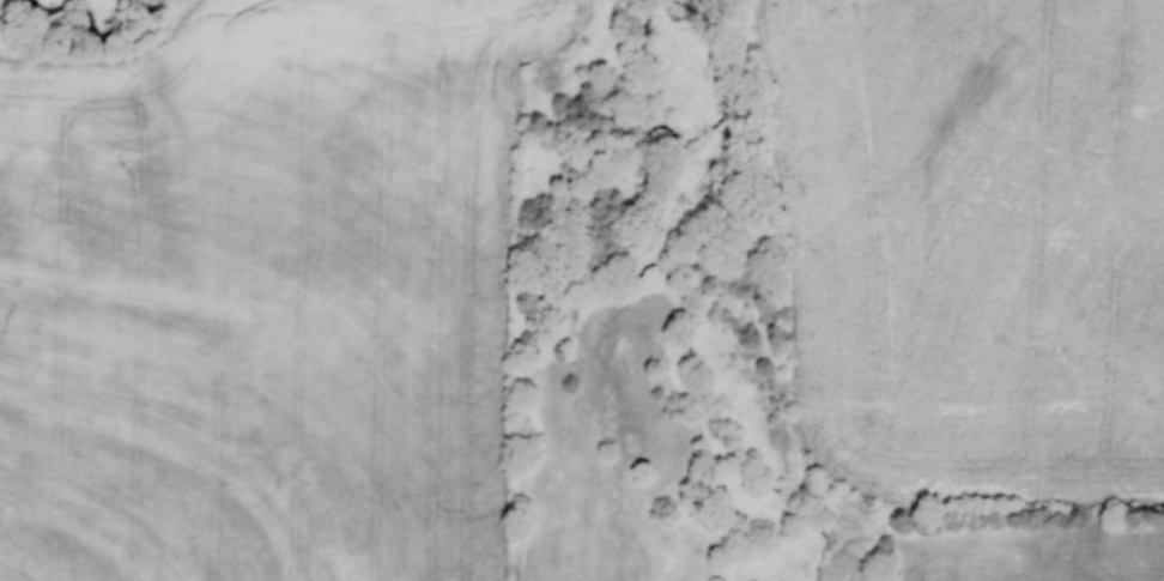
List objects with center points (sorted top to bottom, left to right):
crop: (974, 241)

